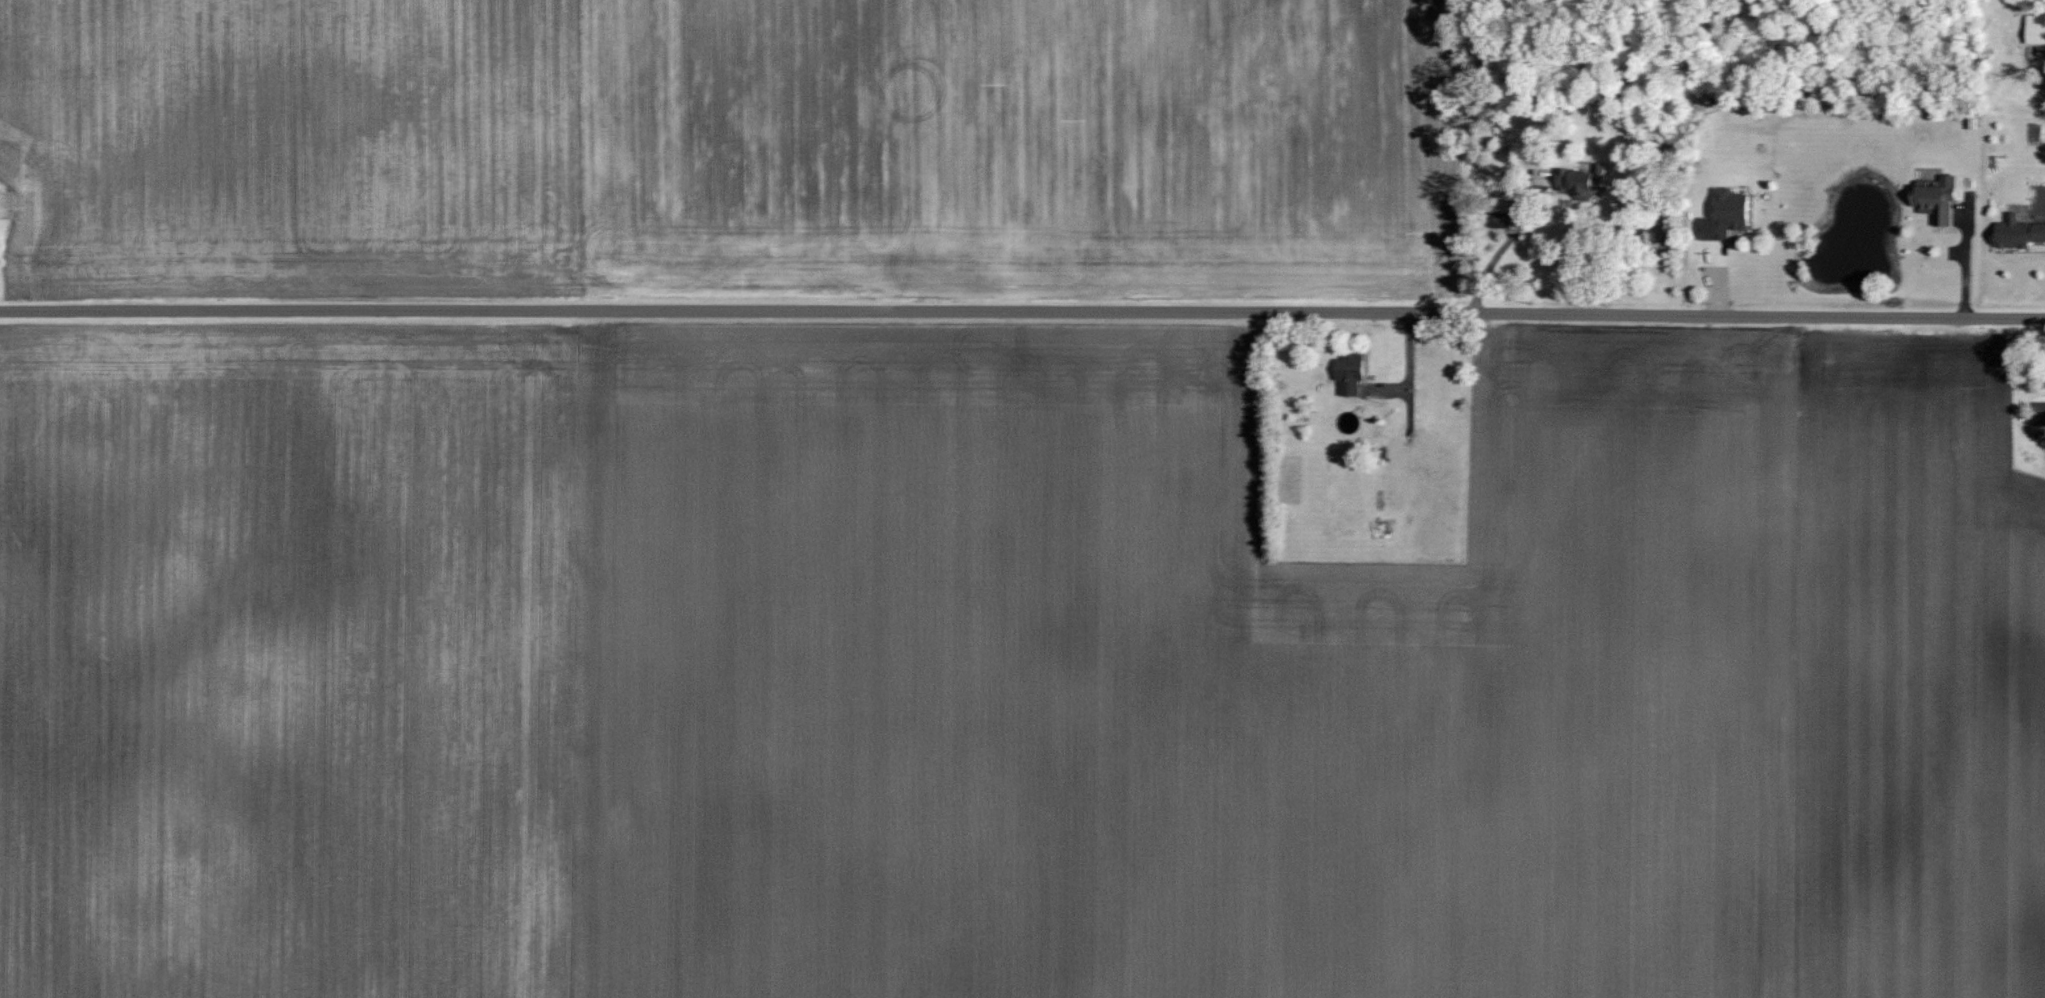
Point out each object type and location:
building: (2035, 28)
building: (1580, 181)
building: (1935, 200)
building: (0, 209)
building: (1723, 214)
building: (1498, 220)
building: (2016, 232)
road: (1022, 311)
building: (1347, 373)
building: (2038, 412)

